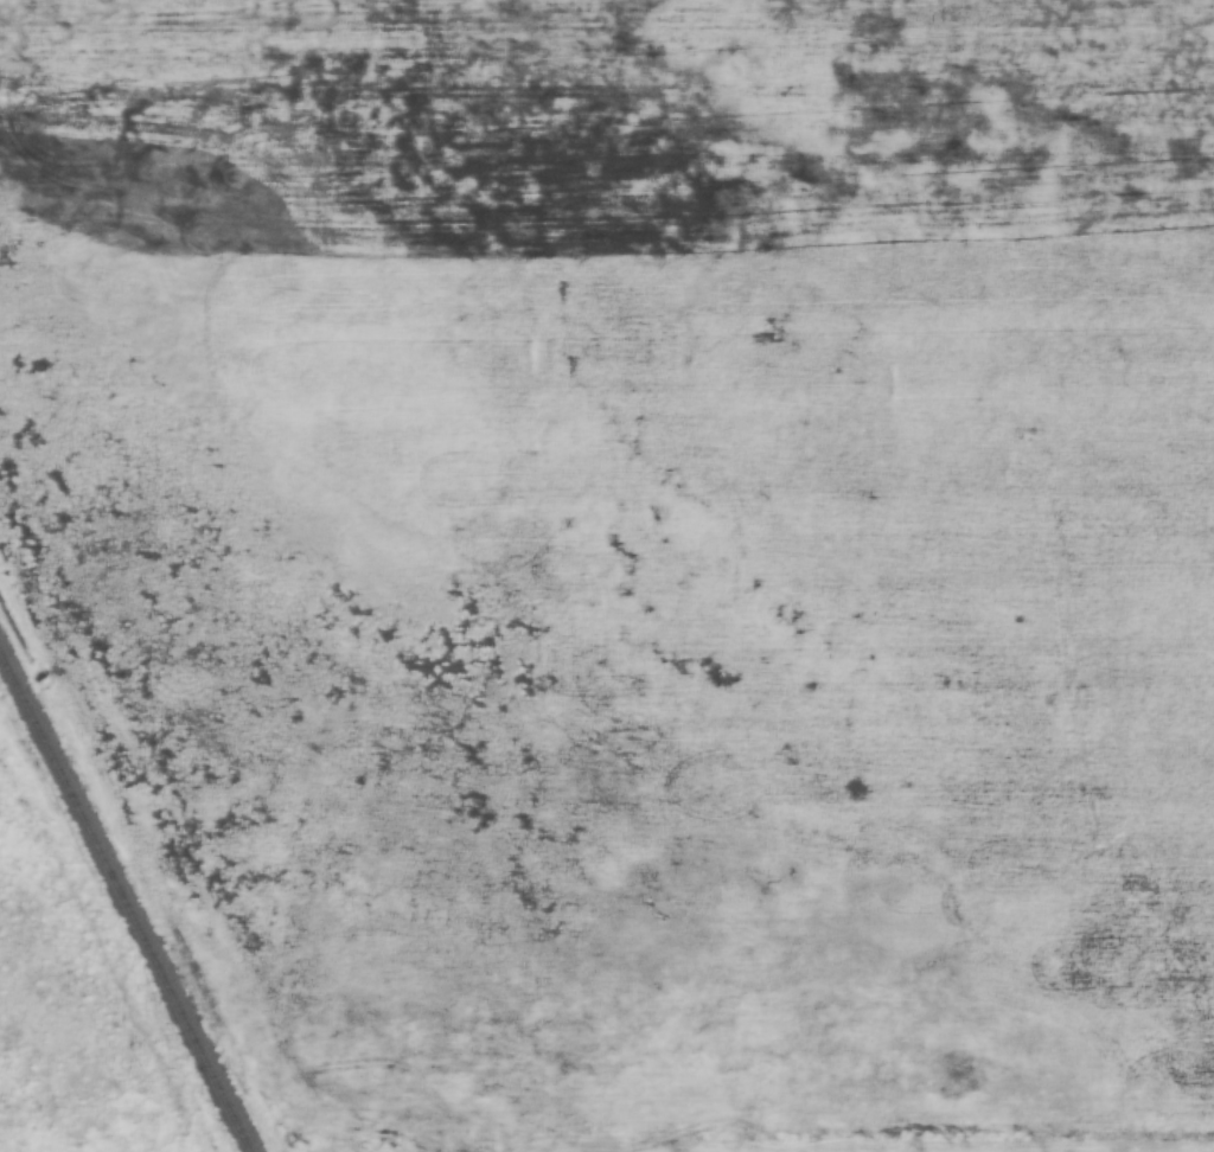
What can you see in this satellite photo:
railway: (122, 908)

